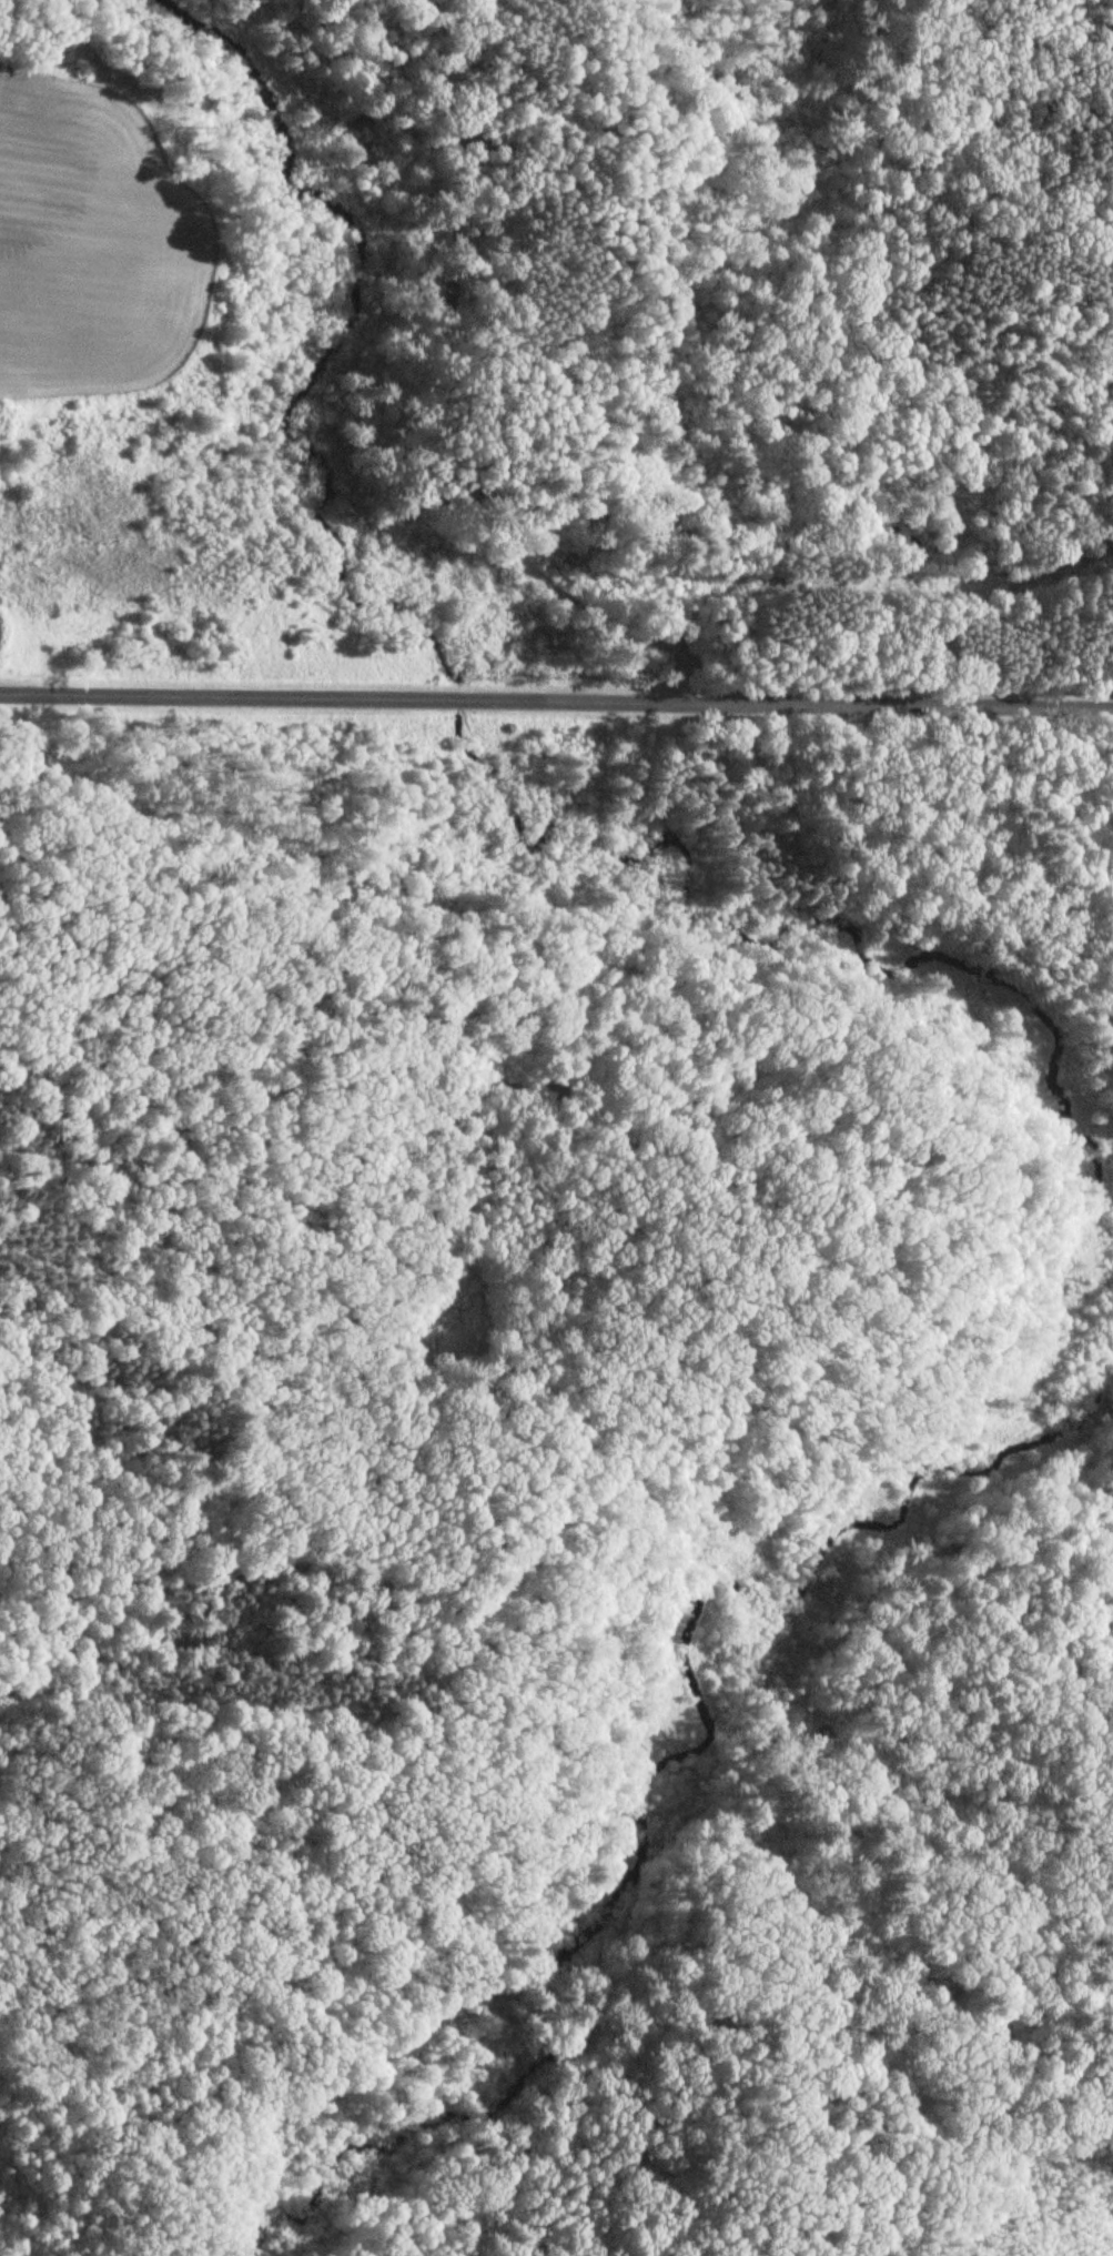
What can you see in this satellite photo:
crop: (93, 242)
road: (446, 406)
crop: (0, 625)
road: (556, 698)
road: (986, 2143)

